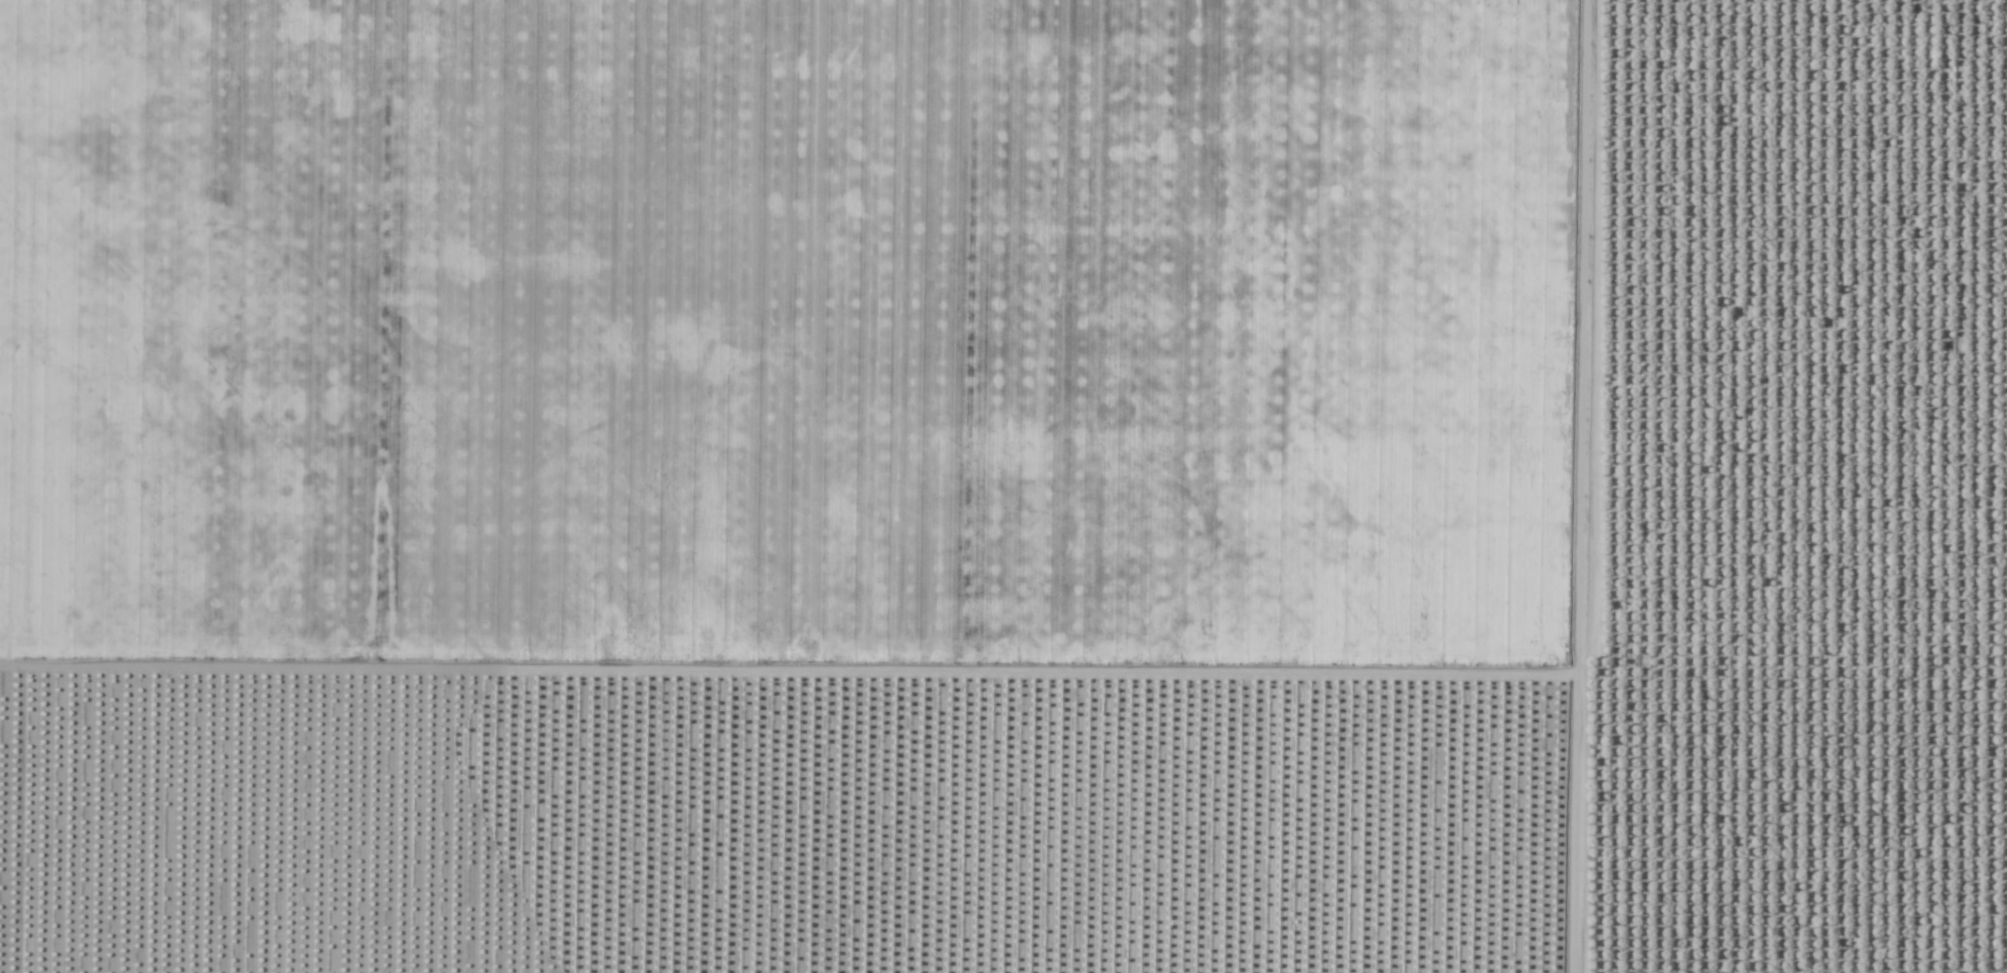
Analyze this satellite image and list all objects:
crop: (792, 335)

